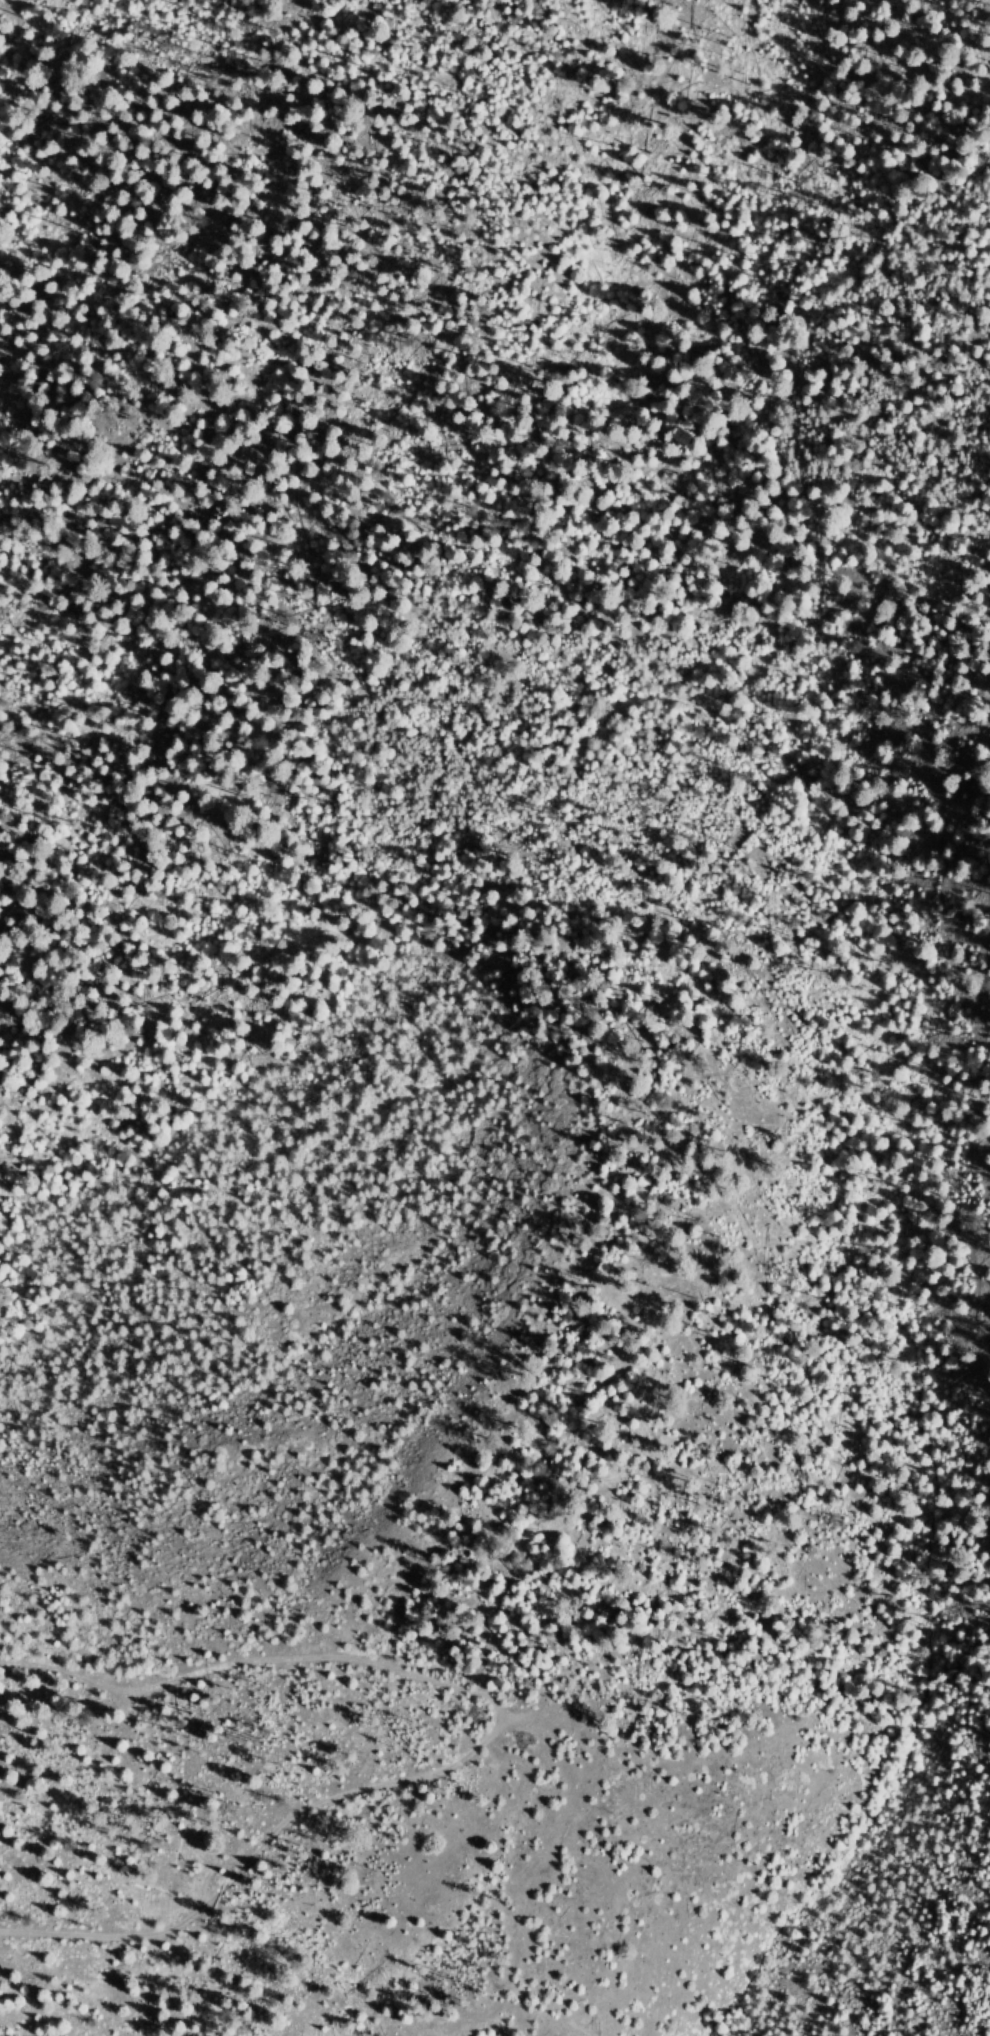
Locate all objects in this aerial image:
road: (492, 1736)

